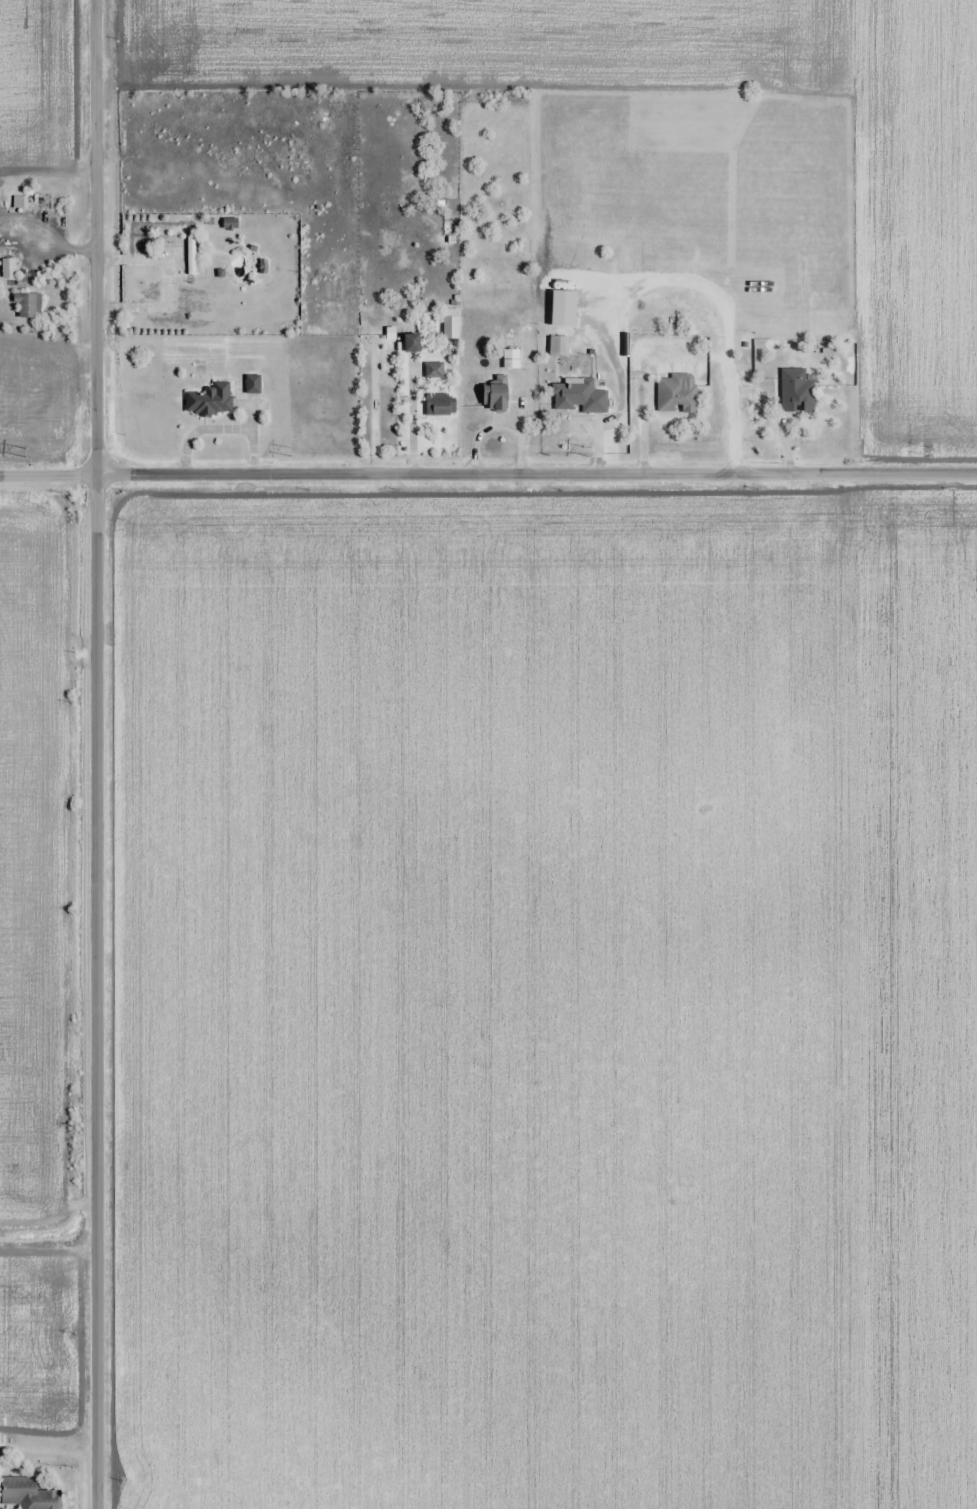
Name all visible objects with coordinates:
building: (37, 202)
building: (229, 221)
building: (7, 267)
building: (26, 304)
building: (450, 328)
building: (410, 342)
building: (558, 346)
building: (511, 359)
building: (433, 370)
building: (252, 384)
building: (796, 391)
building: (676, 393)
building: (577, 396)
building: (494, 397)
building: (209, 400)
building: (439, 405)
power tower: (628, 449)
power tower: (292, 450)
power tower: (26, 452)
power tower: (929, 452)
road: (488, 474)
road: (96, 754)
building: (31, 1497)

